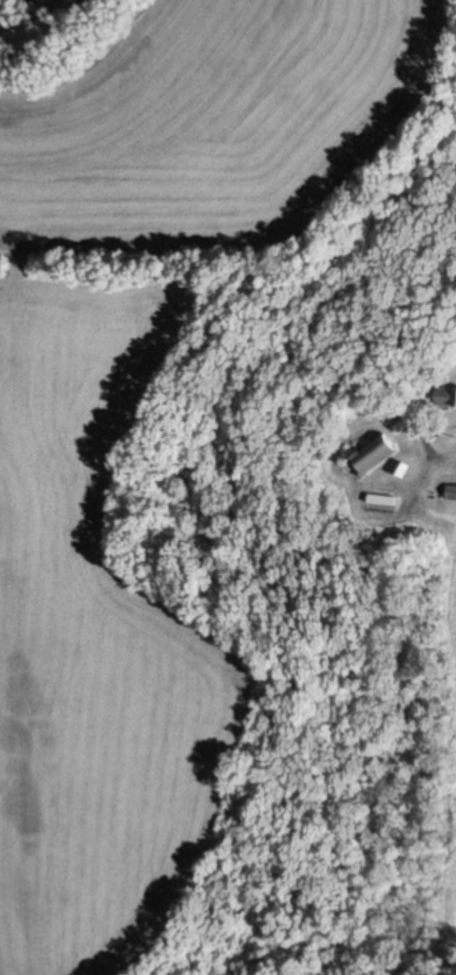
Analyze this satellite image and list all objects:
building: (445, 394)
building: (455, 407)
building: (398, 425)
road: (452, 431)
building: (372, 453)
building: (403, 469)
building: (451, 491)
building: (380, 498)

